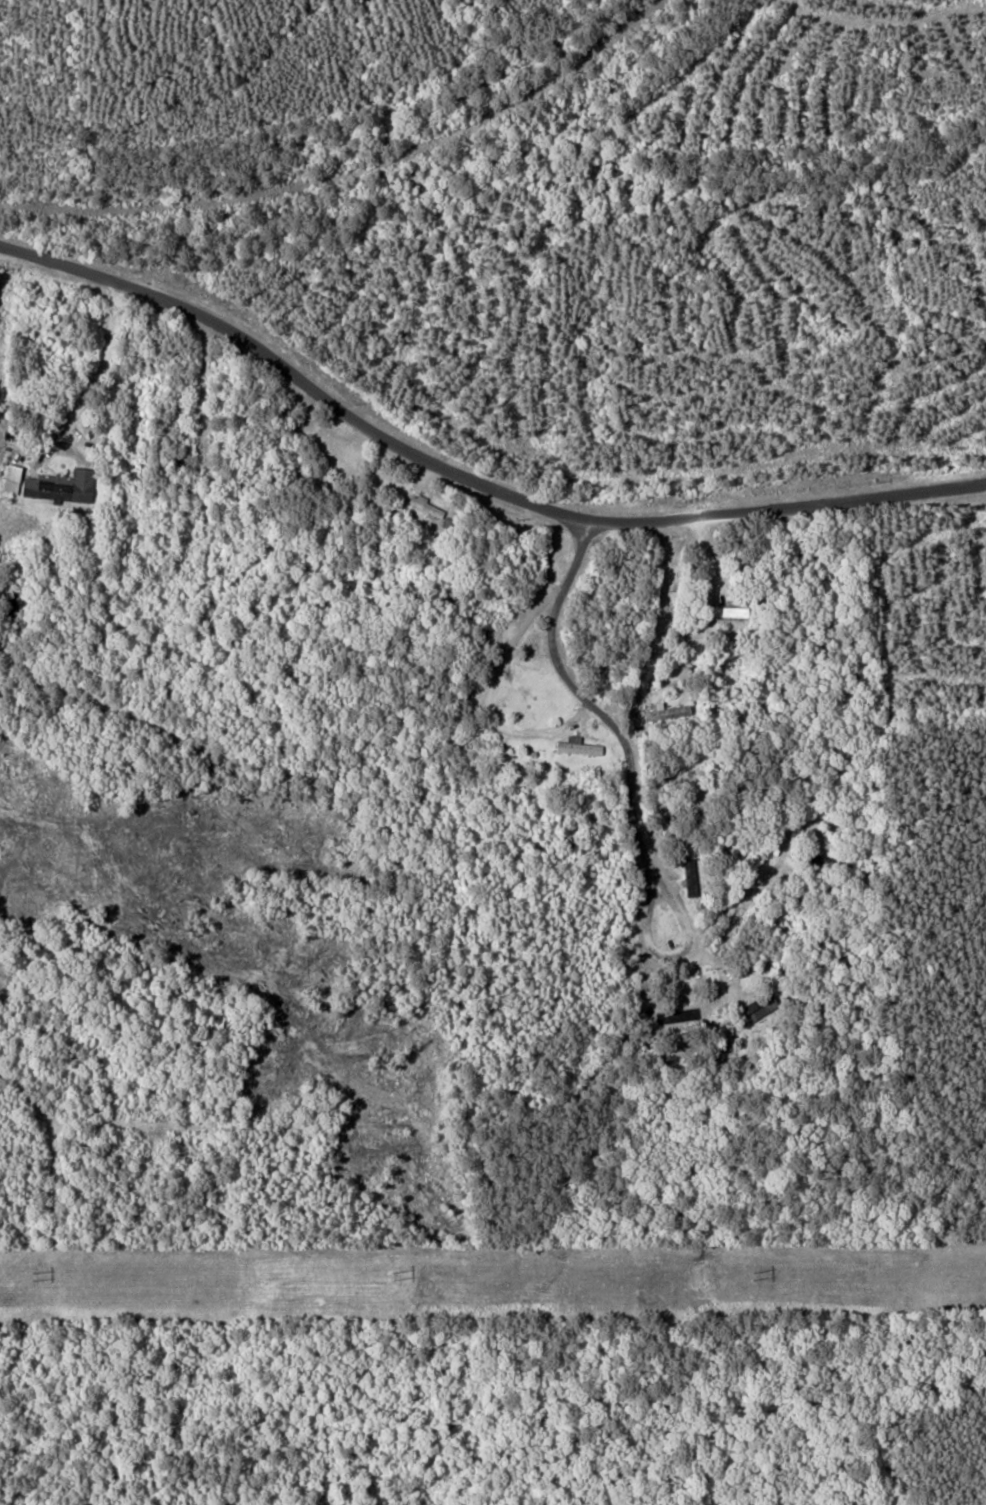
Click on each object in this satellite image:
railway: (351, 172)
road: (468, 477)
building: (9, 478)
building: (80, 484)
building: (42, 485)
building: (422, 504)
road: (578, 554)
building: (662, 710)
road: (503, 726)
building: (574, 745)
building: (687, 875)
building: (759, 1004)

